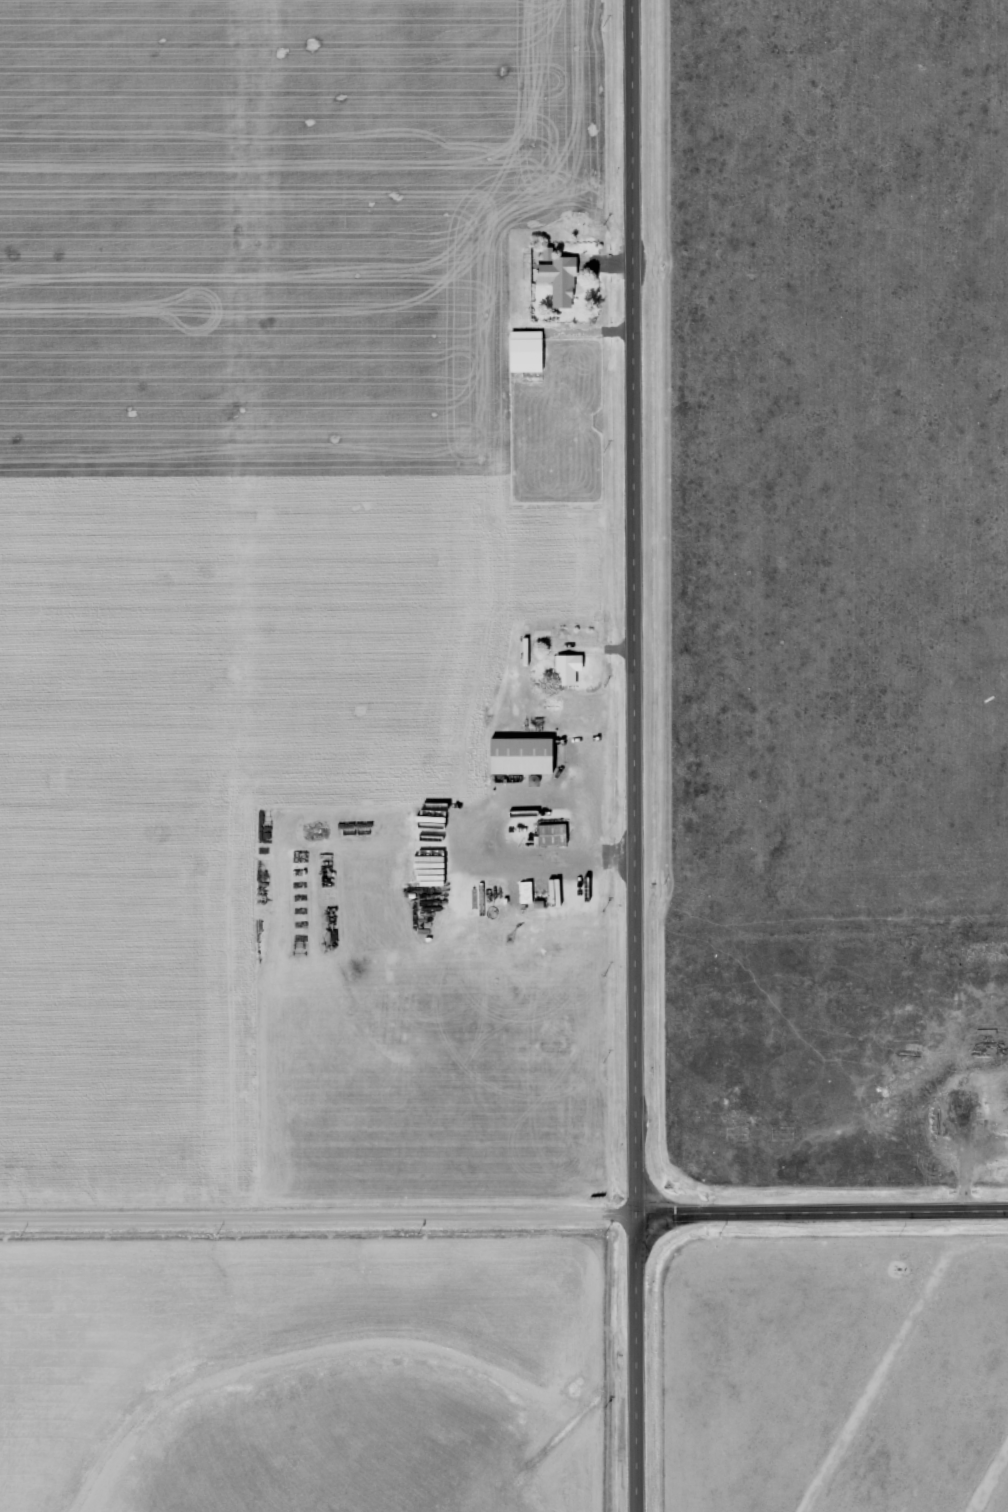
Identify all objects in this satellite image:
building: (555, 280)
building: (521, 351)
road: (627, 611)
building: (561, 670)
building: (514, 757)
building: (546, 835)
building: (733, 1135)
road: (820, 1220)
road: (316, 1233)
road: (633, 1367)

